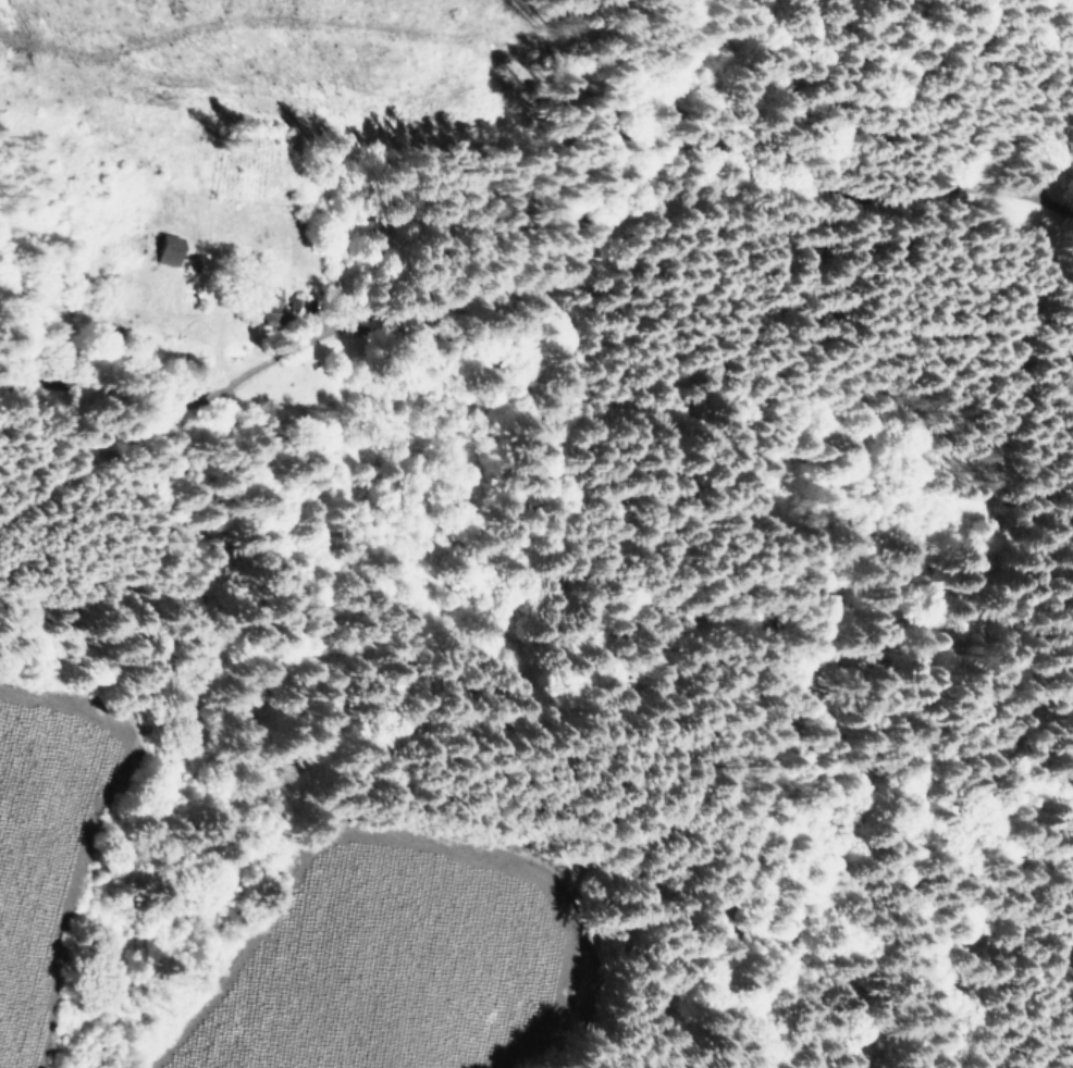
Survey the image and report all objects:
road: (832, 224)
building: (164, 248)
road: (481, 299)

